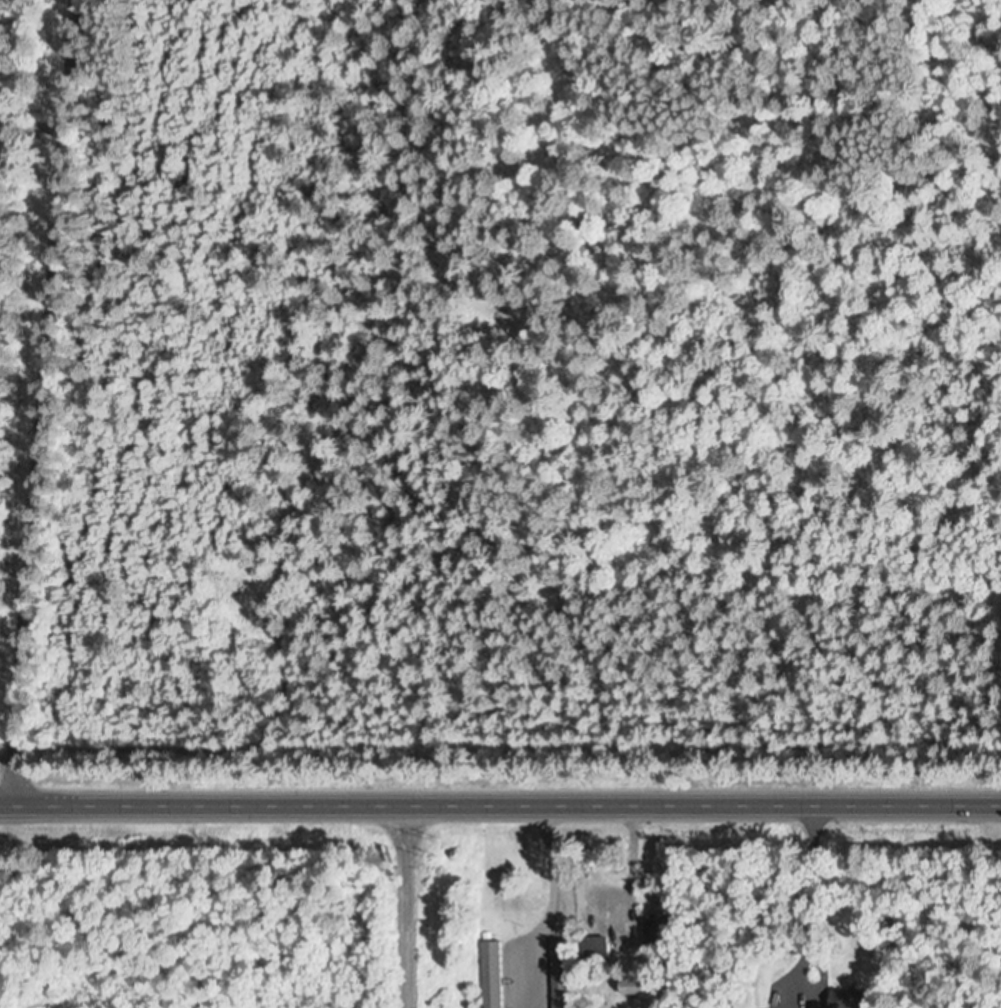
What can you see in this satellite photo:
road: (47, 399)
road: (374, 797)
road: (874, 799)
building: (664, 932)
building: (597, 949)
building: (495, 973)
building: (563, 973)
building: (641, 990)
building: (849, 997)

